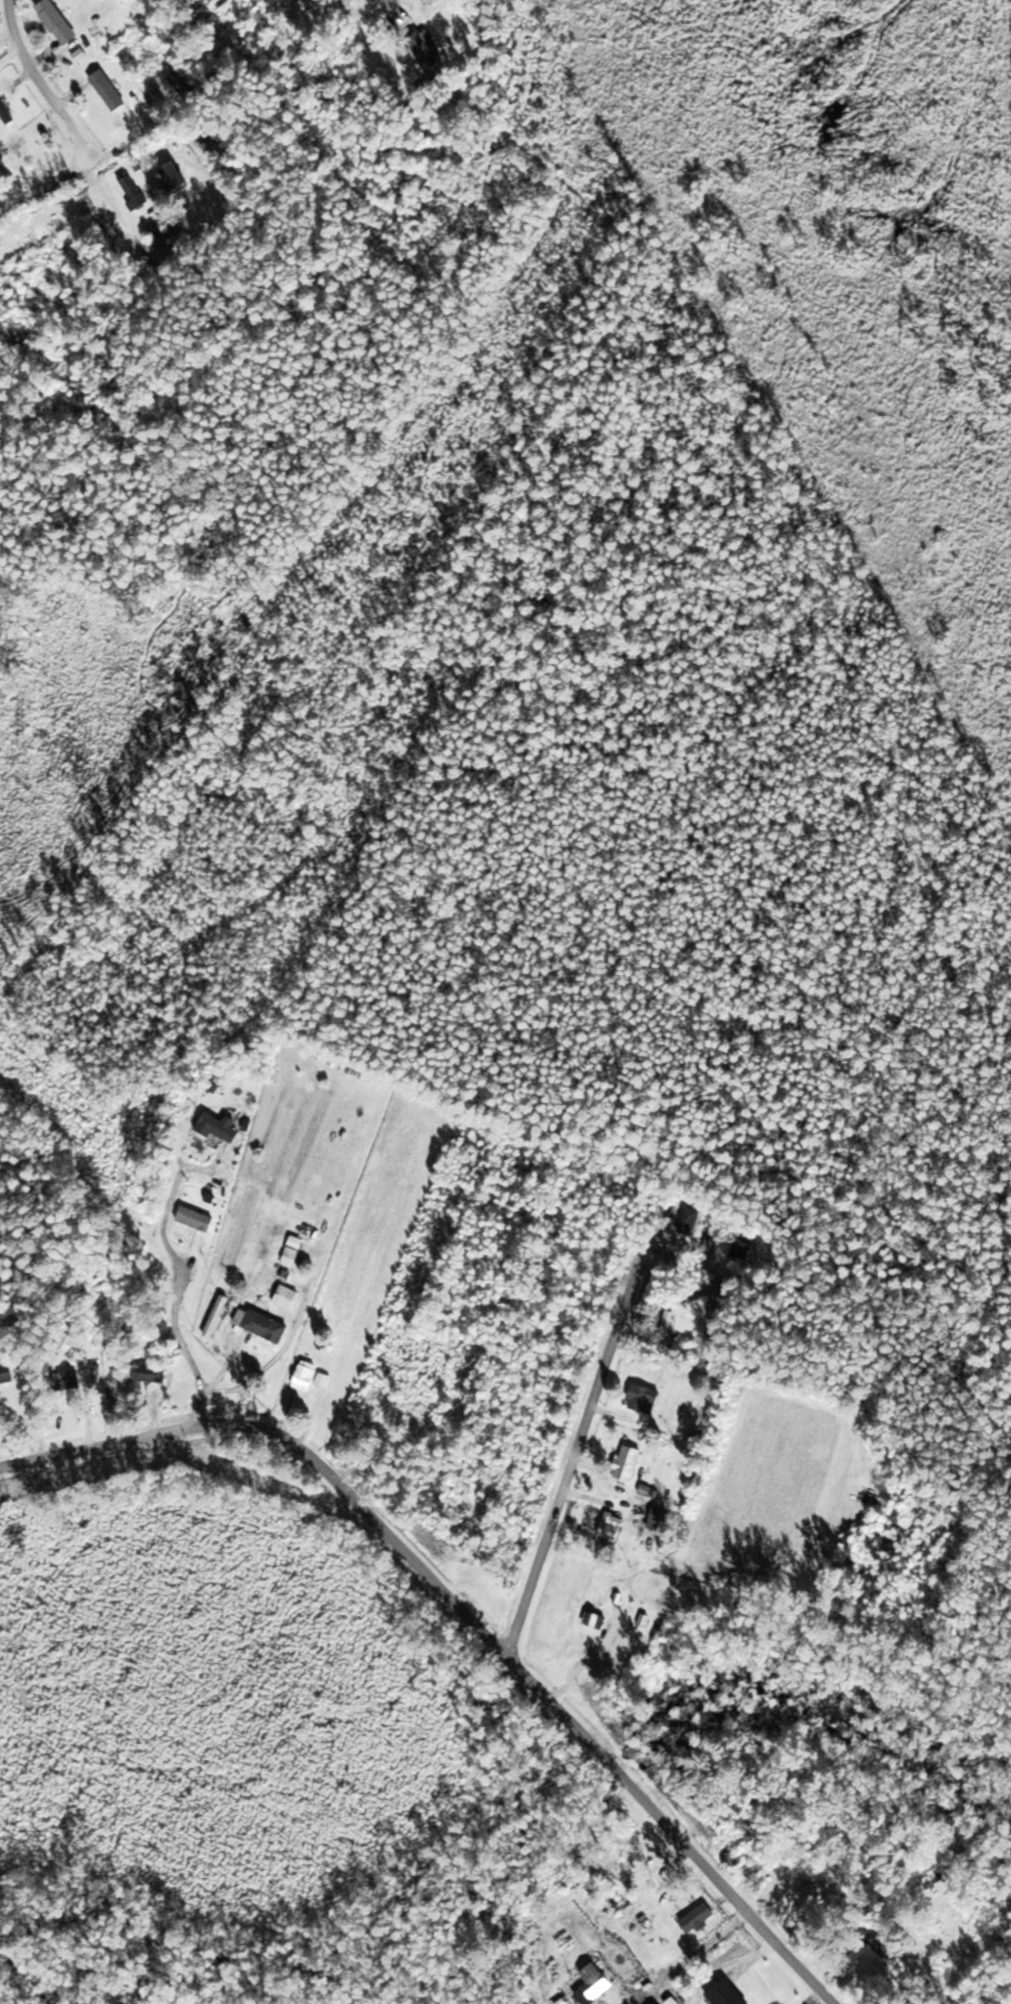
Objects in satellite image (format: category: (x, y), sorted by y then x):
building: (61, 22)
building: (430, 49)
road: (43, 82)
building: (187, 82)
building: (111, 90)
building: (7, 113)
building: (36, 158)
building: (179, 177)
building: (136, 192)
building: (223, 1127)
building: (198, 1219)
building: (692, 1221)
building: (743, 1249)
building: (289, 1298)
building: (219, 1316)
building: (264, 1325)
building: (668, 1328)
building: (8, 1373)
building: (150, 1374)
building: (314, 1378)
building: (77, 1379)
building: (647, 1399)
road: (578, 1449)
building: (631, 1463)
building: (660, 1517)
building: (614, 1526)
road: (465, 1609)
building: (597, 1619)
building: (759, 1868)
building: (702, 1919)
building: (873, 1966)
building: (596, 1984)
building: (729, 1993)

